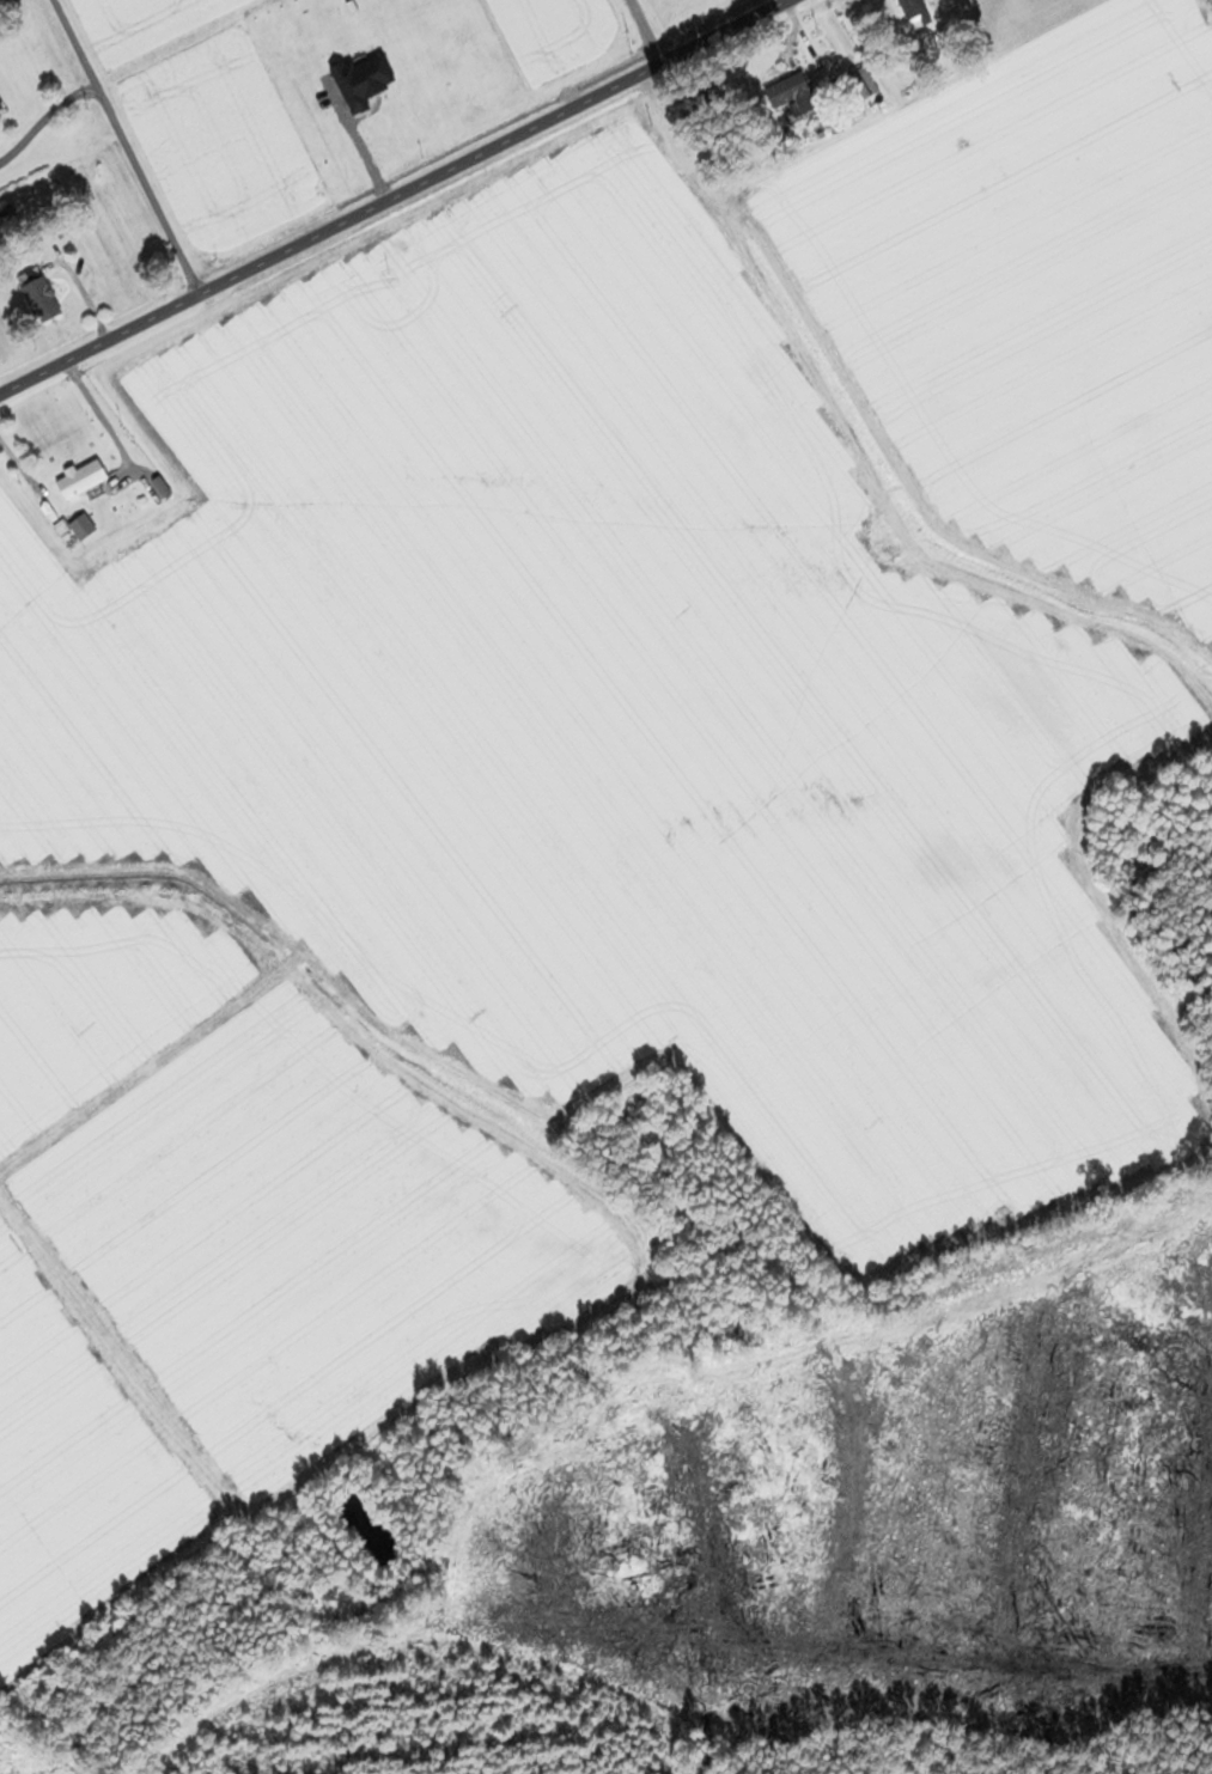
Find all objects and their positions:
building: (914, 14)
road: (644, 31)
building: (790, 95)
road: (128, 147)
road: (392, 199)
building: (41, 301)
road: (106, 422)
building: (81, 480)
building: (80, 526)
building: (60, 529)

